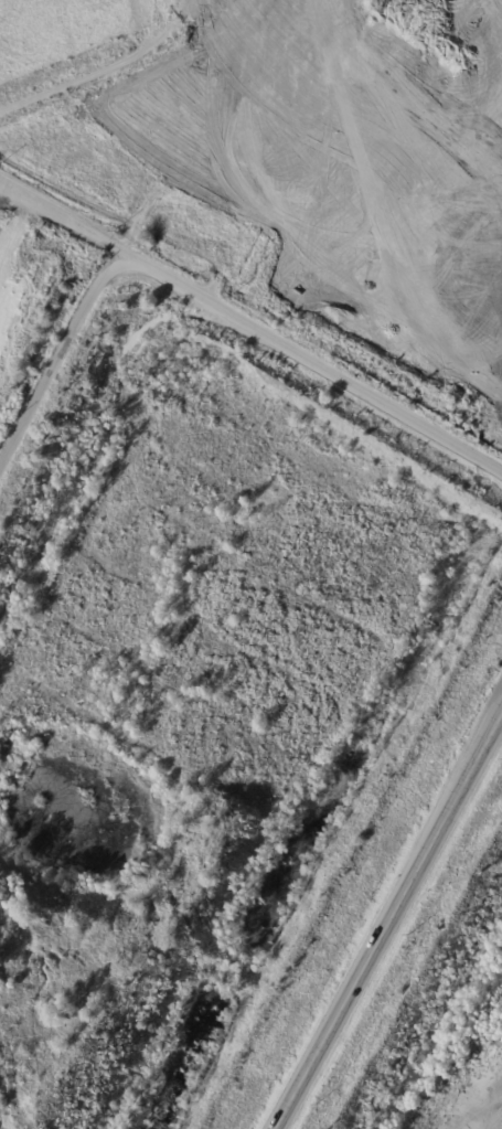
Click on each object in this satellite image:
road: (110, 63)
road: (72, 224)
road: (212, 301)
road: (389, 922)

